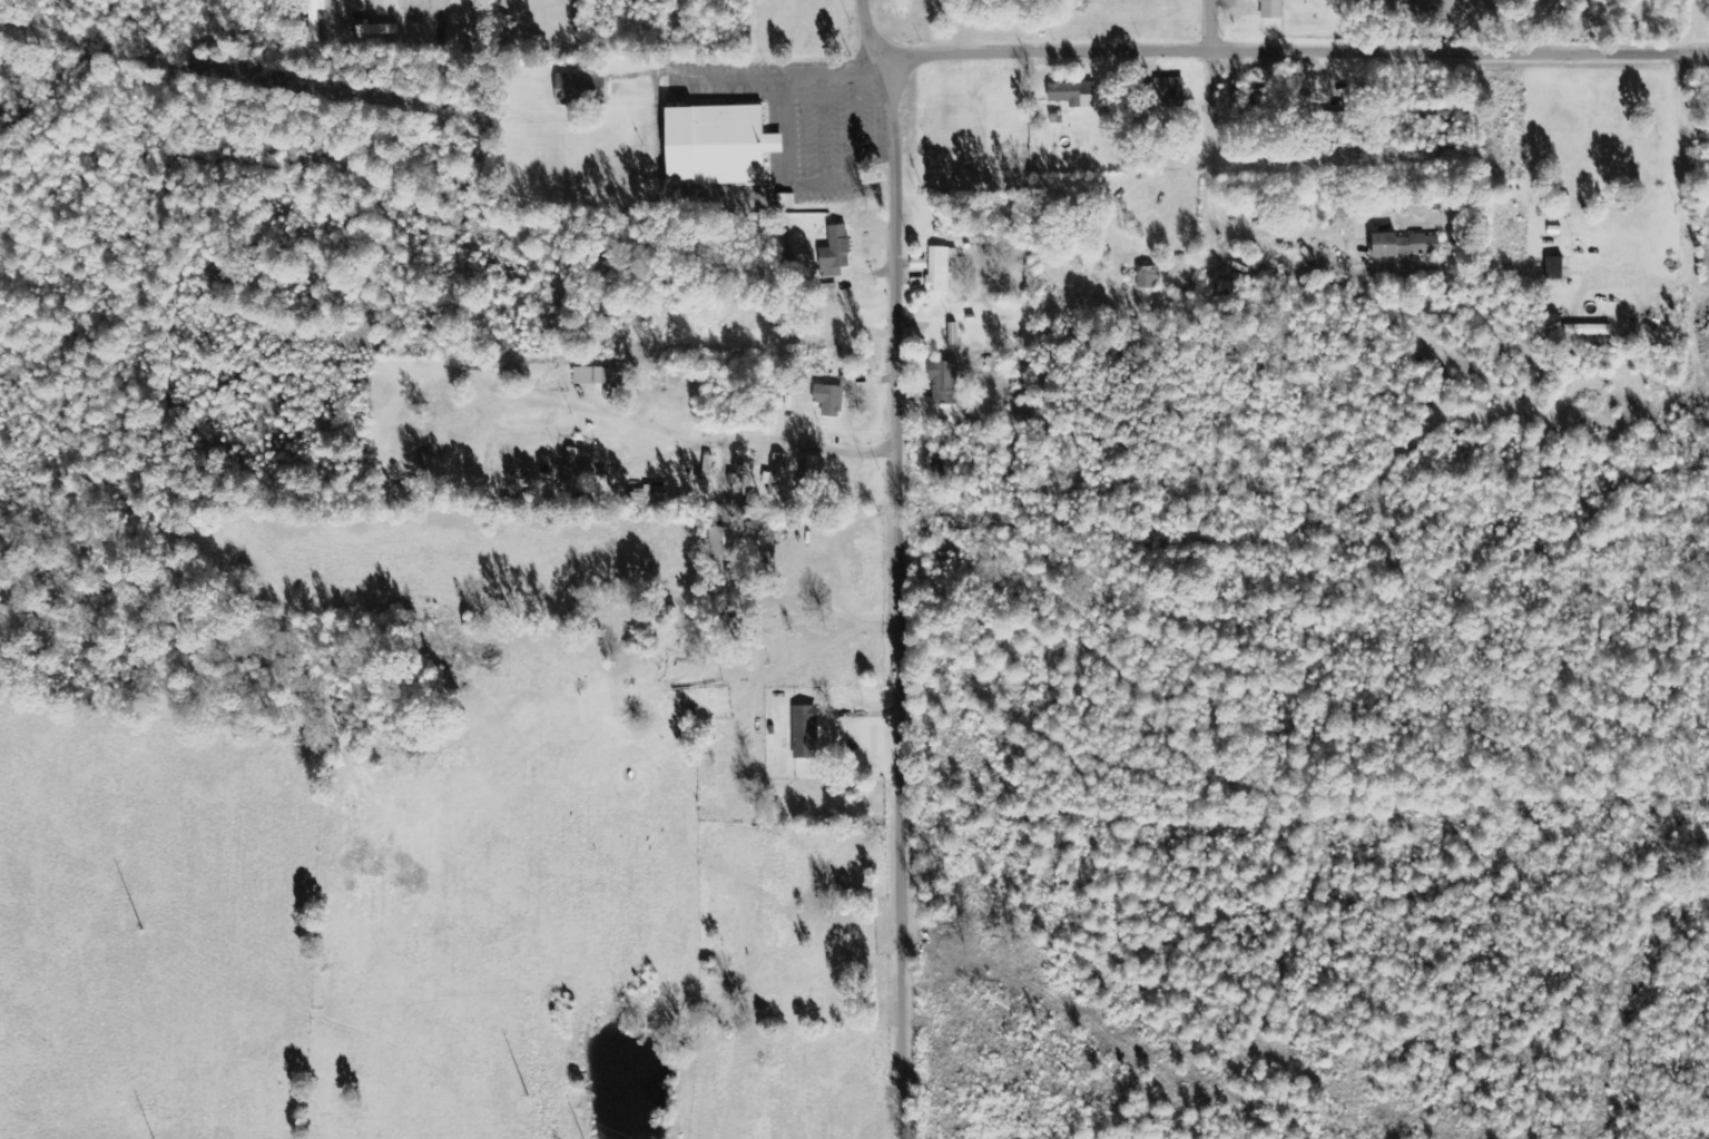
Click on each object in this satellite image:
building: (315, 8)
building: (1270, 9)
road: (1209, 26)
building: (376, 29)
road: (1295, 51)
building: (580, 88)
building: (1169, 92)
building: (1072, 95)
building: (717, 146)
road: (1354, 159)
building: (1404, 246)
building: (835, 253)
building: (939, 268)
building: (1554, 268)
building: (1147, 277)
building: (1587, 331)
building: (953, 334)
building: (596, 376)
building: (944, 383)
building: (828, 401)
building: (569, 471)
building: (738, 474)
building: (775, 477)
road: (901, 566)
building: (805, 733)

